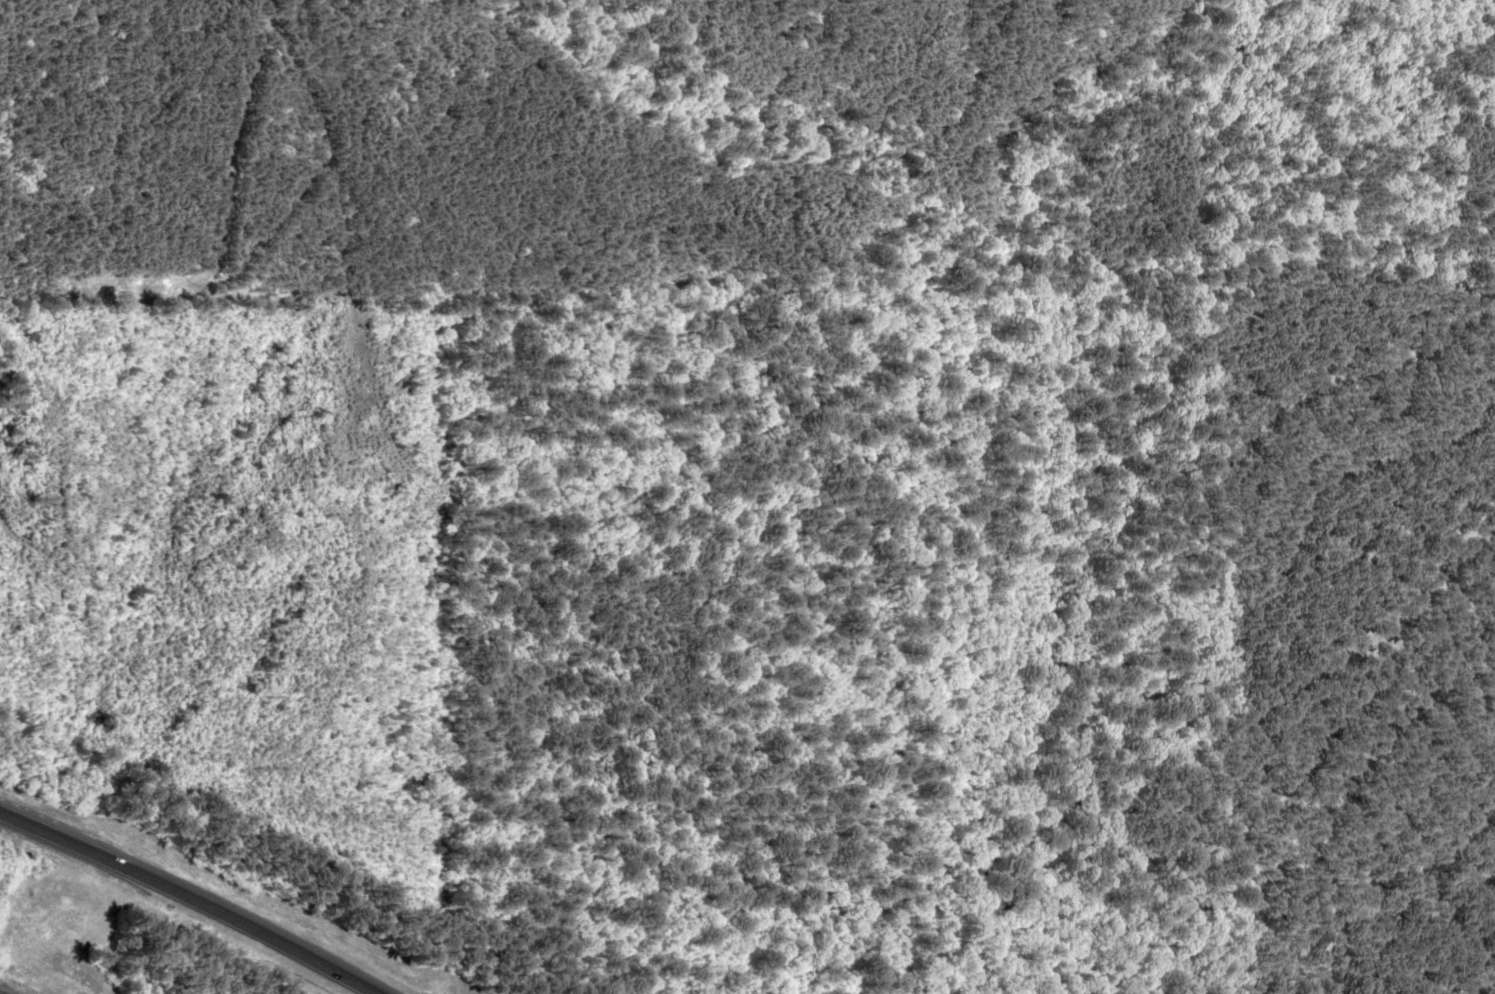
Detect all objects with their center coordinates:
road: (188, 900)

